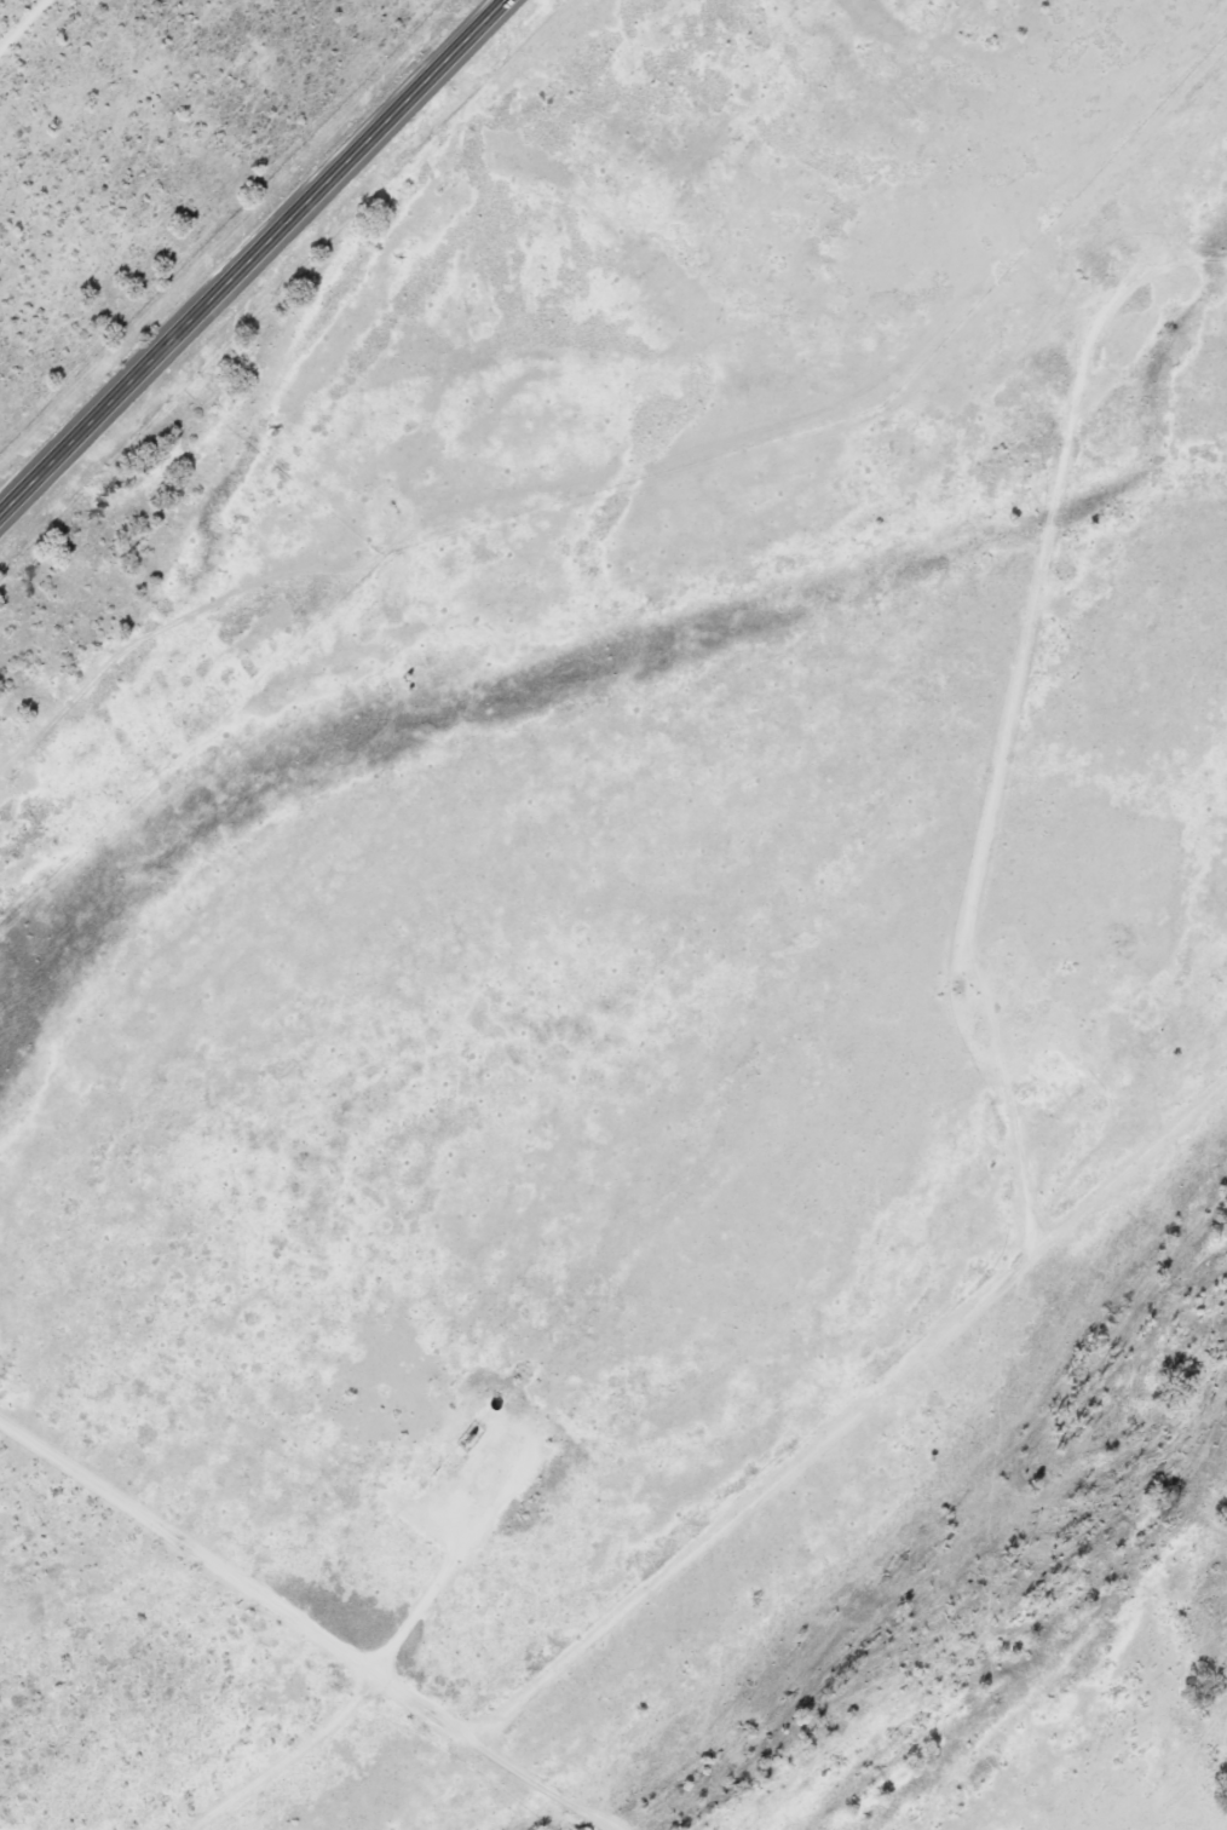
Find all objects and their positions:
road: (252, 257)
road: (854, 1423)
river: (986, 1598)
road: (310, 1624)
road: (269, 1750)

